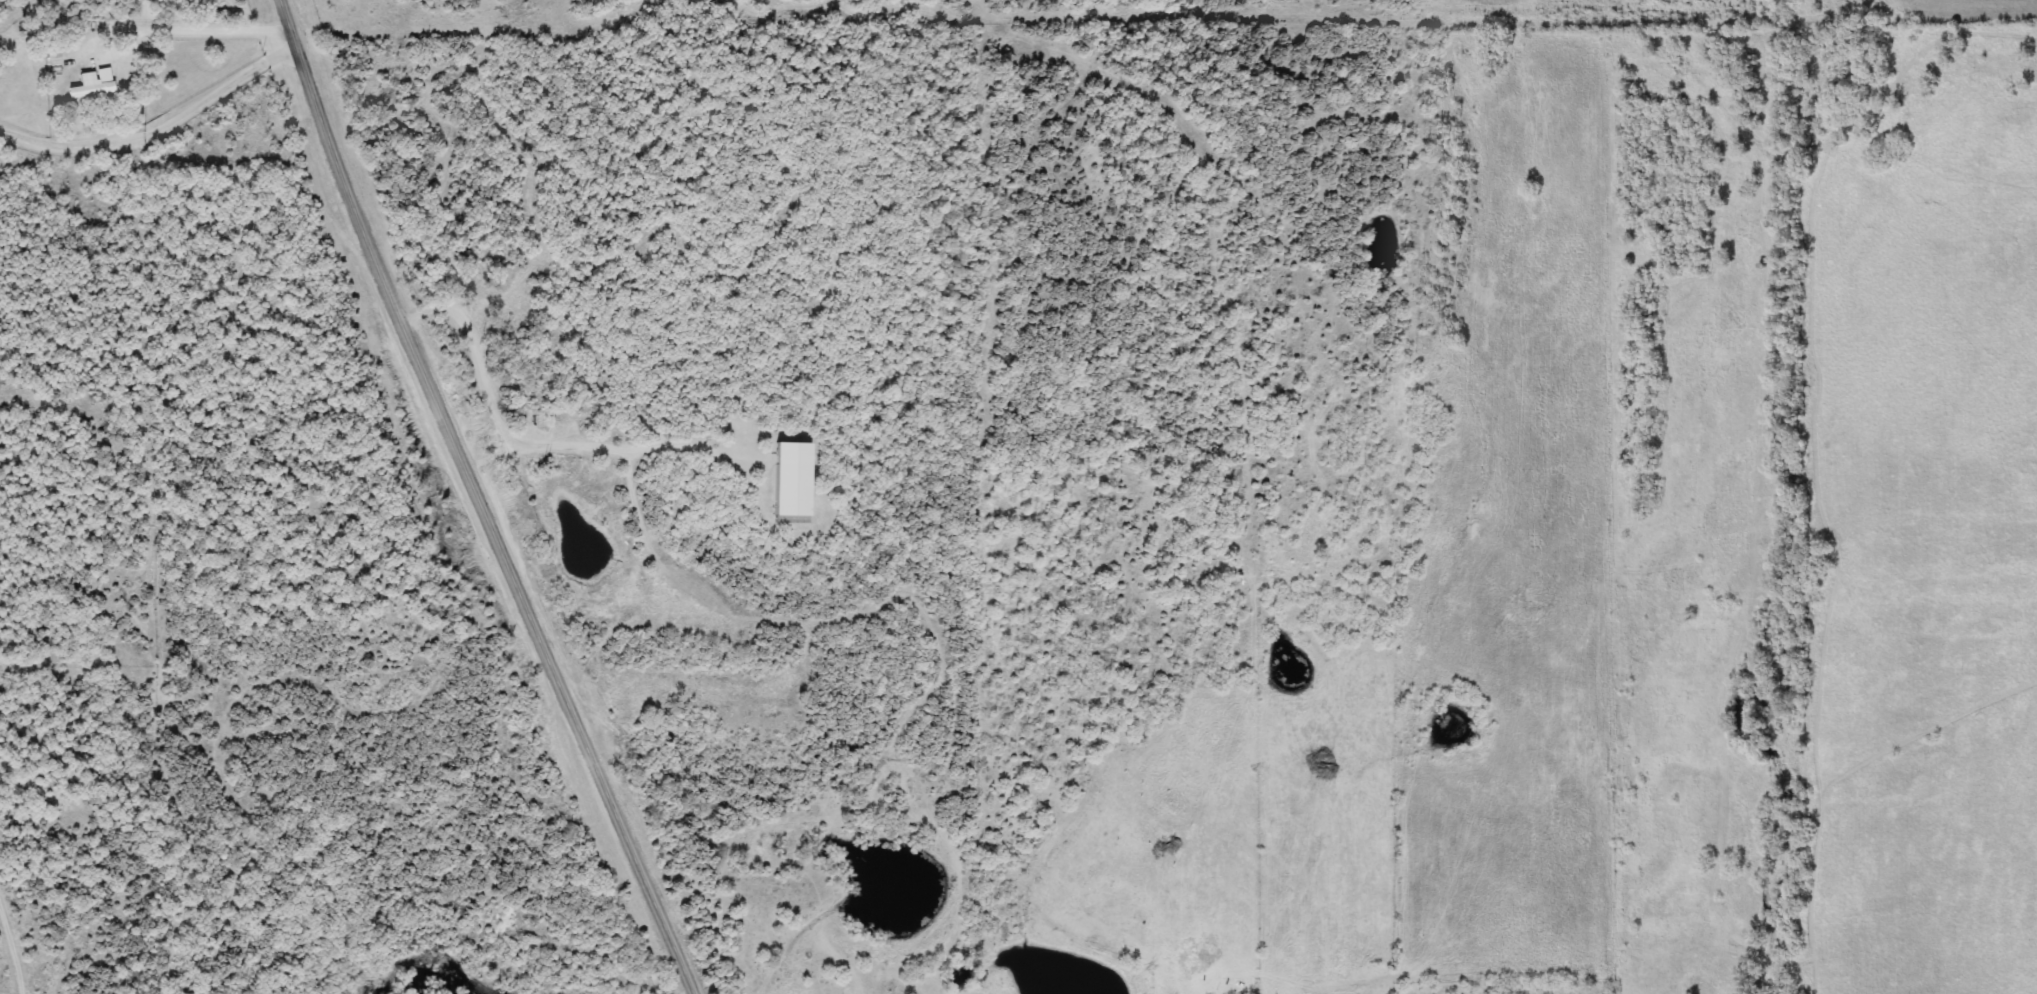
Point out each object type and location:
road: (457, 2)
building: (92, 80)
road: (159, 119)
road: (1245, 182)
building: (793, 475)
road: (478, 501)
road: (1251, 565)
road: (10, 943)

